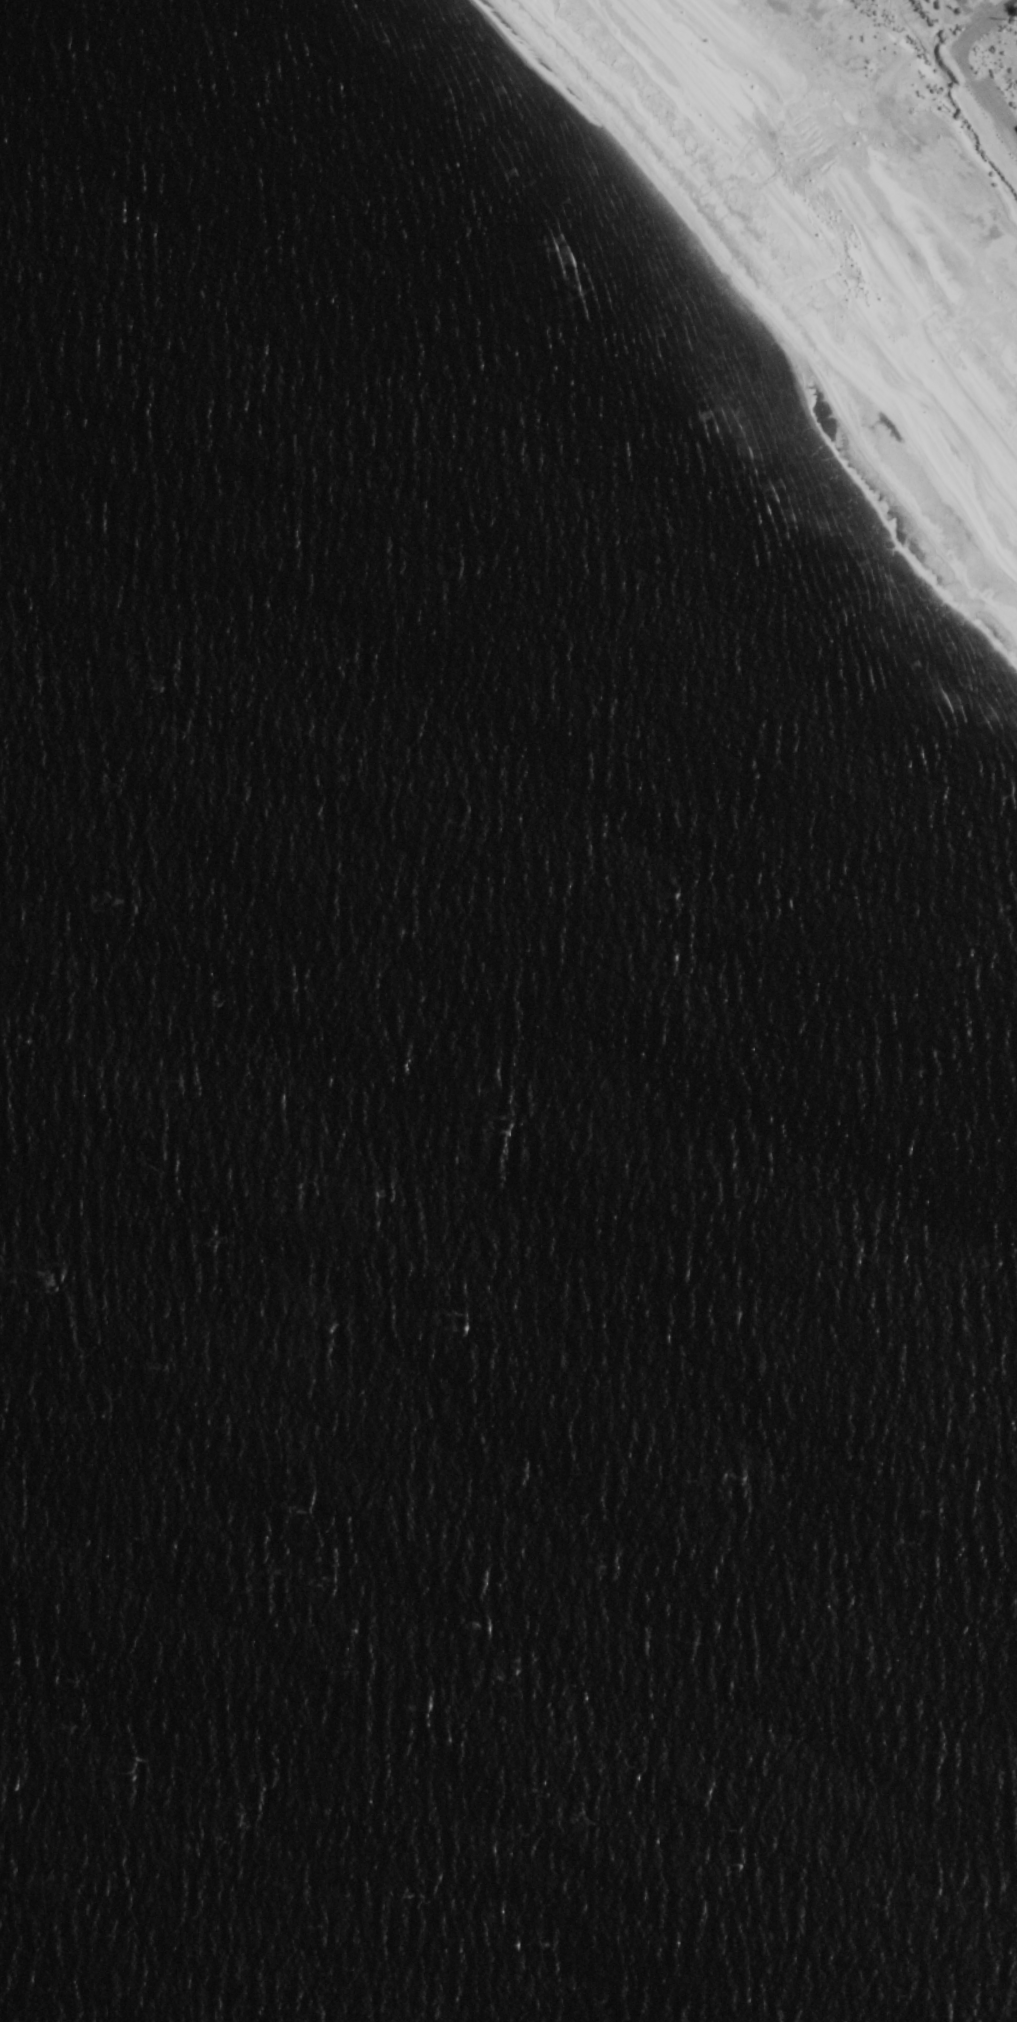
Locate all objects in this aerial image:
road: (979, 24)
road: (983, 101)

